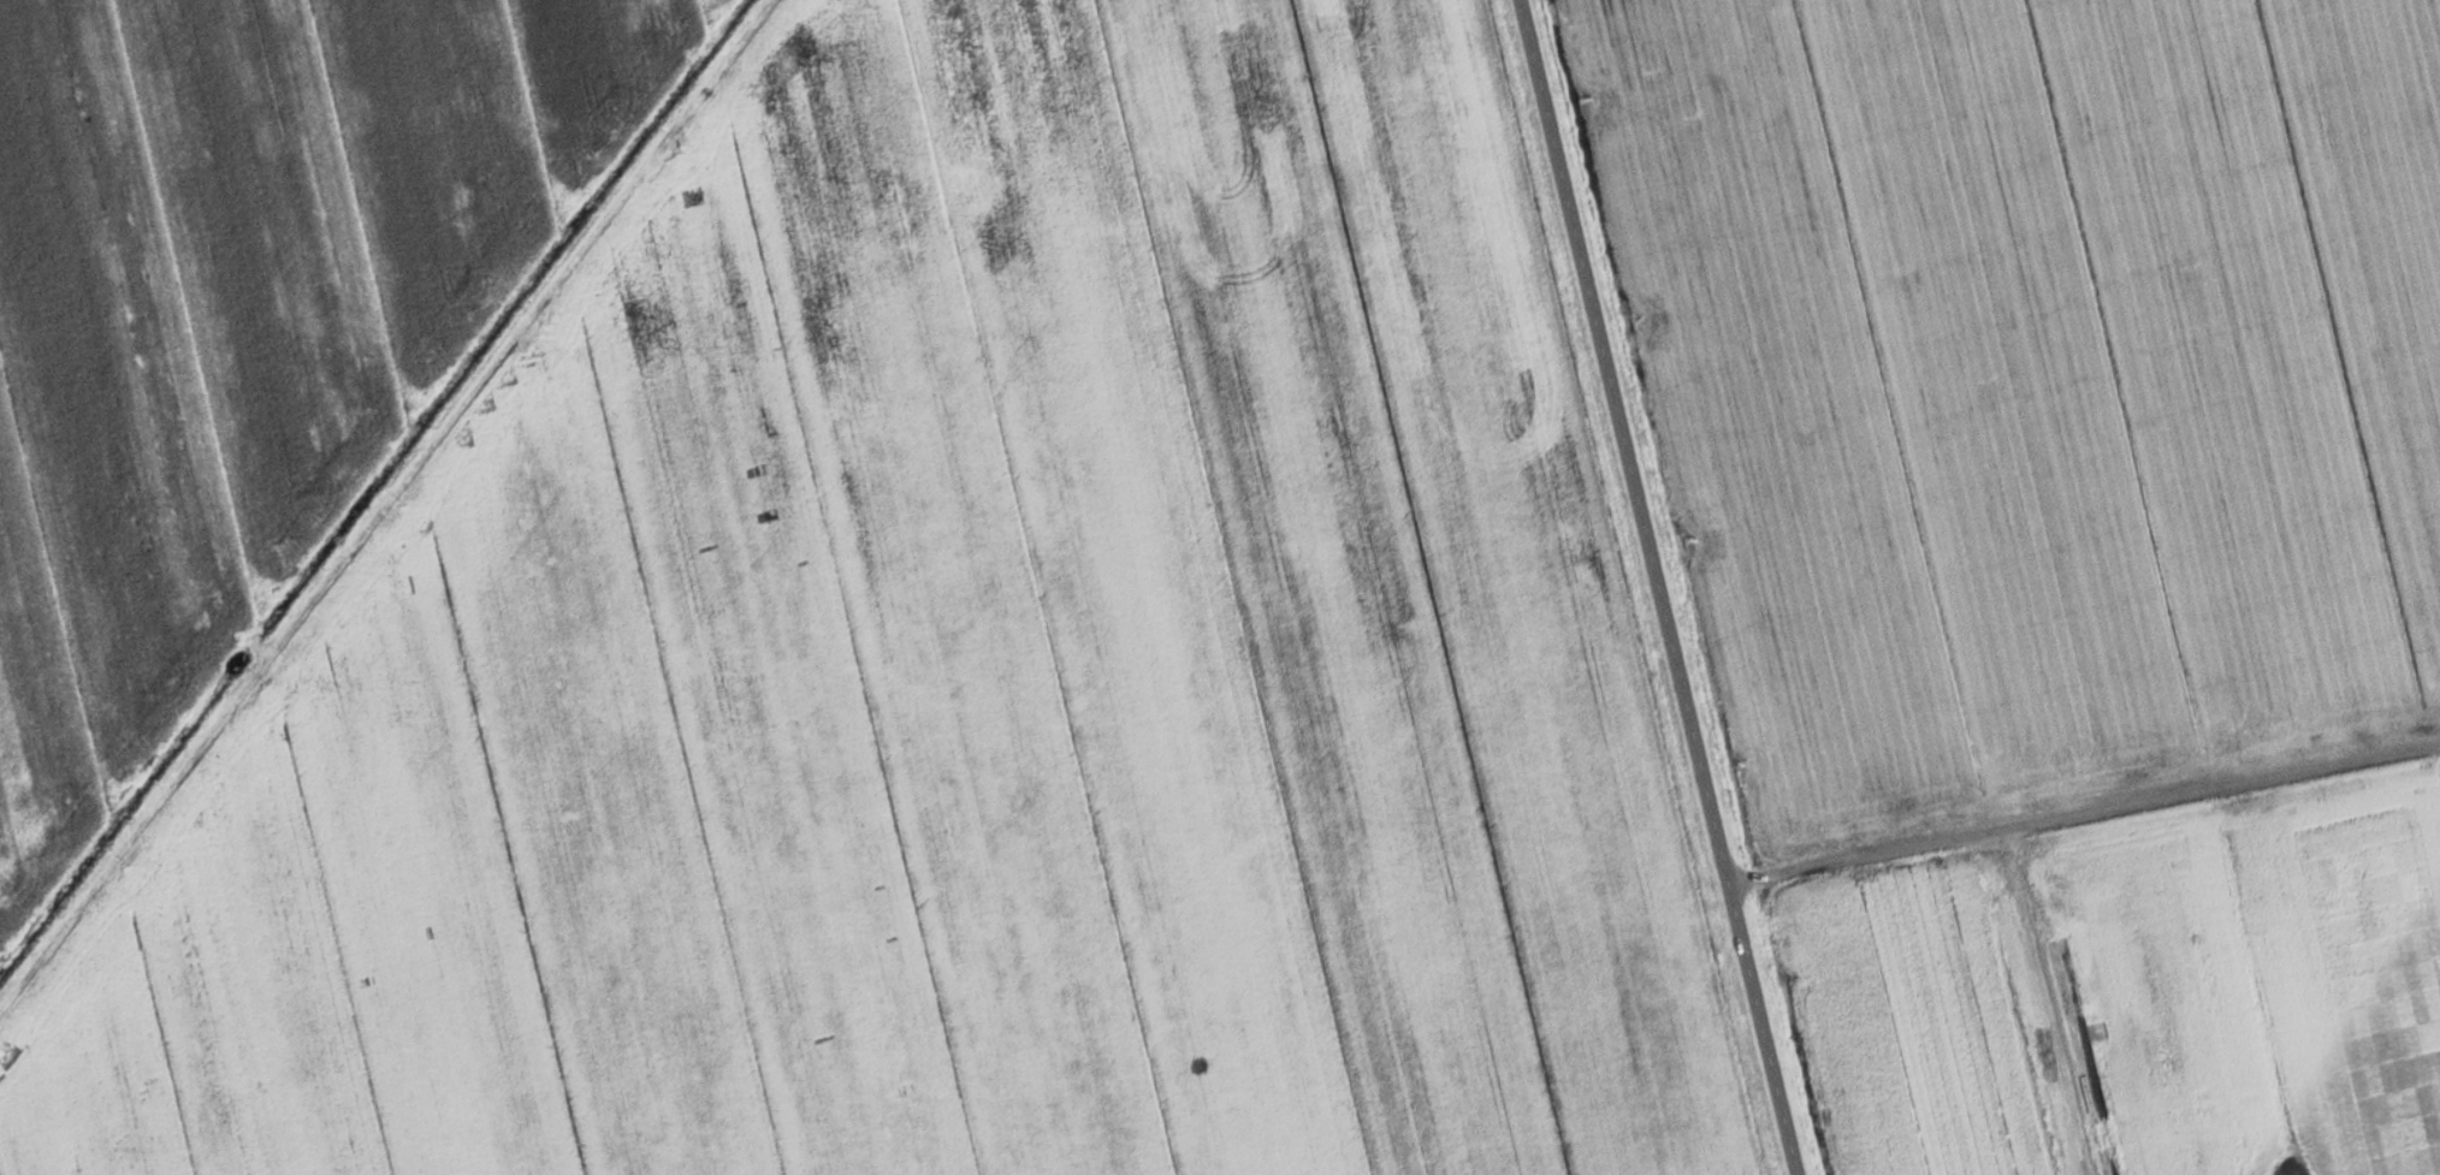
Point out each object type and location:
crop: (243, 318)
crop: (2032, 380)
road: (383, 499)
road: (1648, 587)
crop: (958, 673)
road: (2010, 854)

